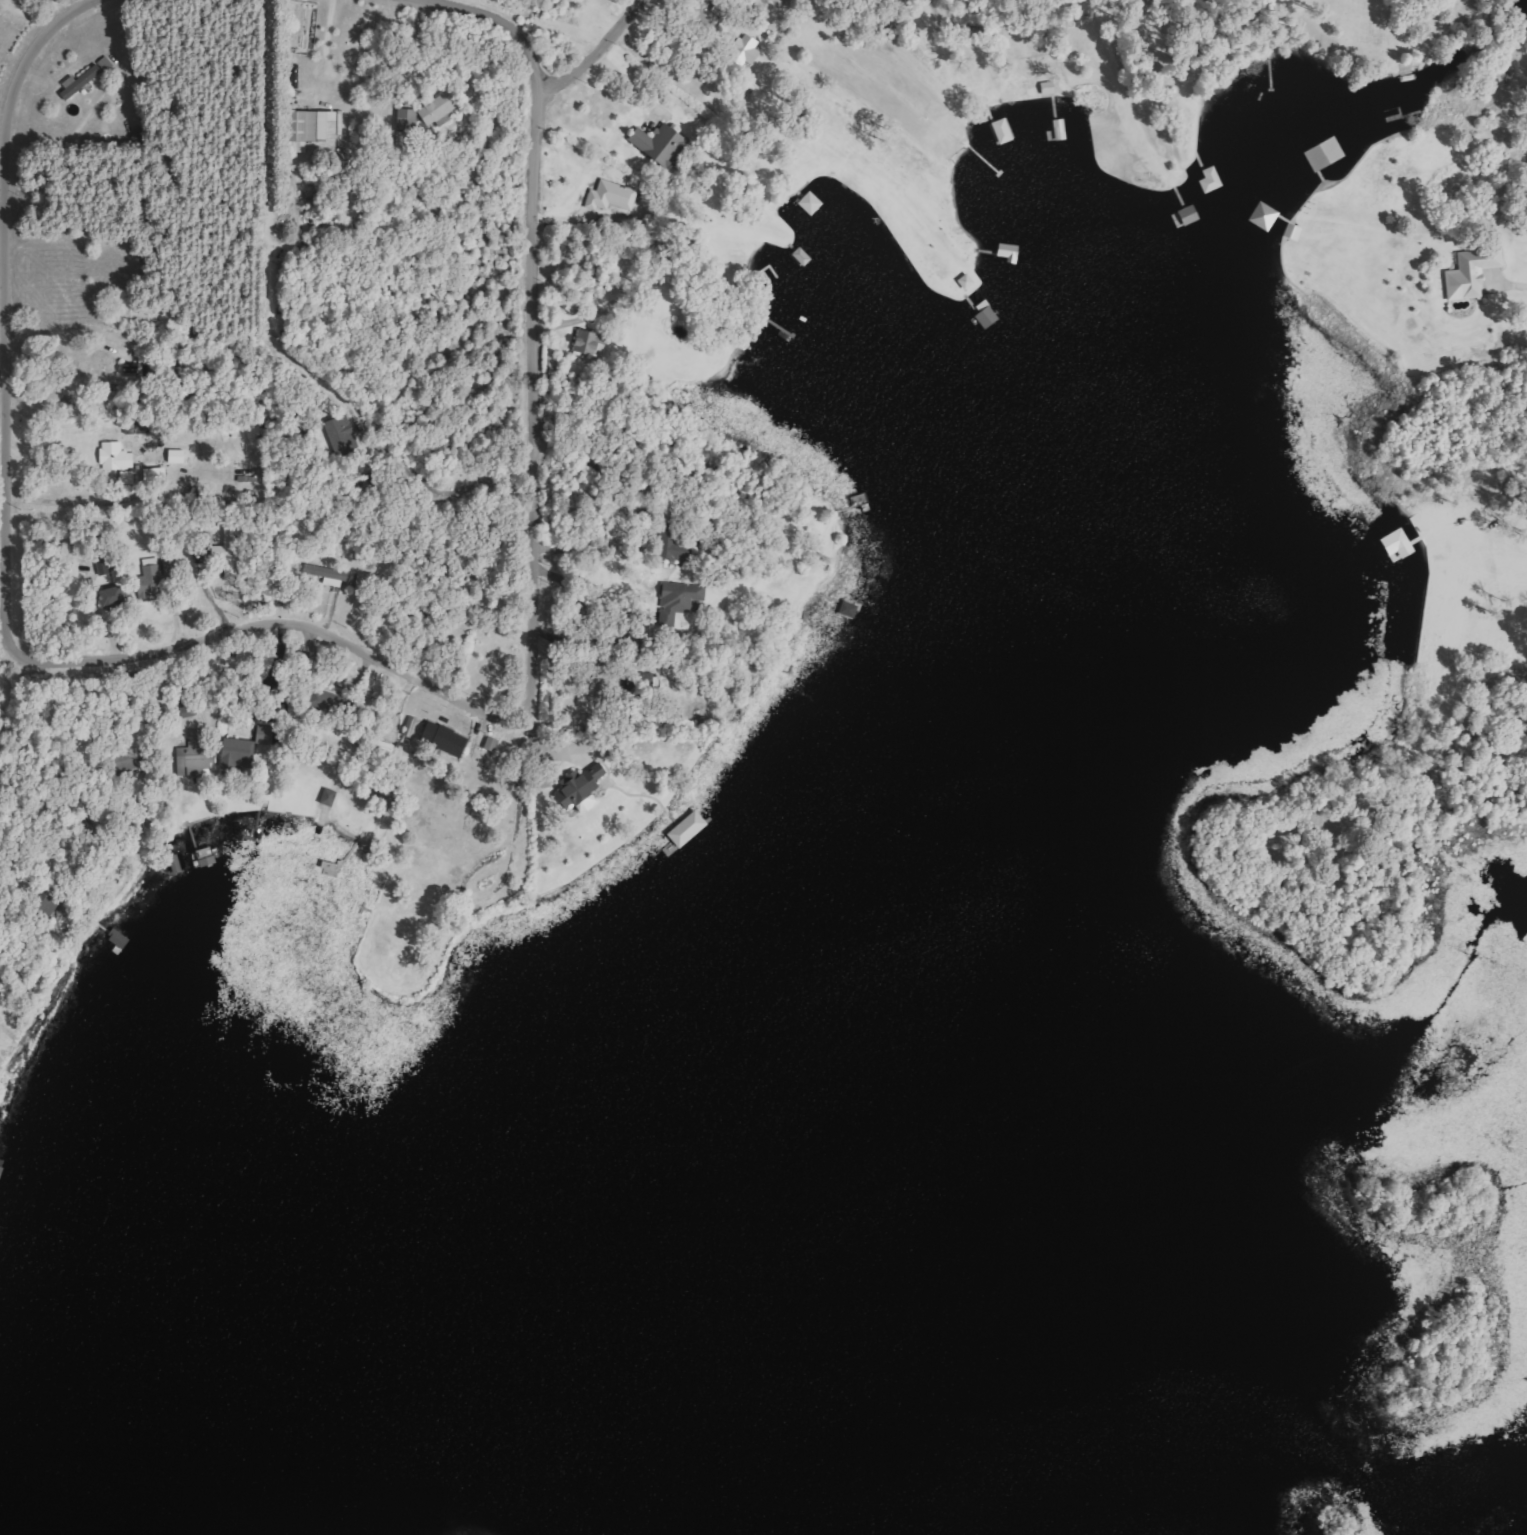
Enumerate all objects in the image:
building: (742, 50)
road: (603, 55)
building: (86, 79)
building: (997, 131)
building: (652, 144)
building: (1206, 180)
building: (608, 196)
building: (806, 203)
road: (1, 214)
building: (1259, 217)
building: (1467, 274)
building: (581, 343)
building: (335, 435)
building: (173, 457)
building: (121, 461)
building: (673, 543)
building: (149, 574)
building: (327, 576)
building: (108, 597)
building: (675, 599)
road: (319, 633)
building: (320, 699)
building: (408, 728)
building: (444, 741)
building: (488, 745)
building: (379, 747)
building: (235, 752)
building: (192, 756)
building: (577, 788)
building: (326, 798)
building: (682, 830)

